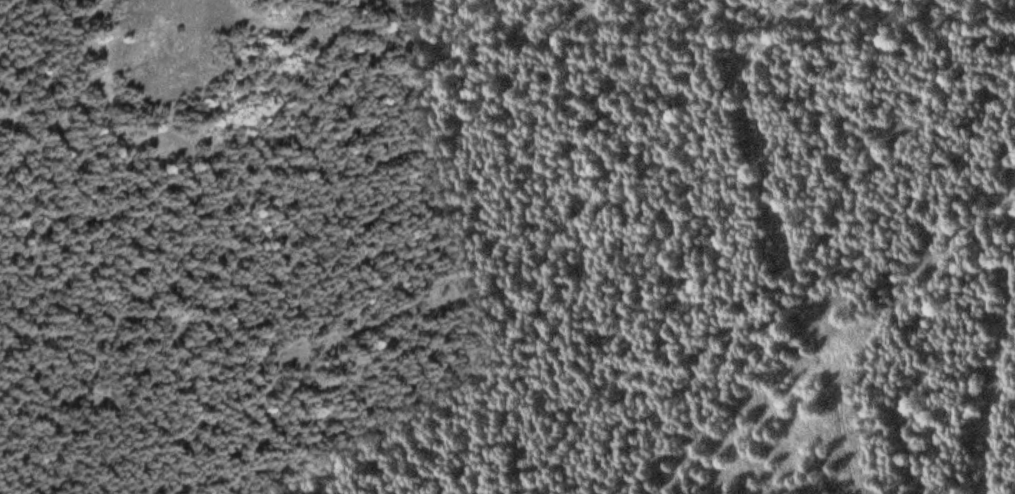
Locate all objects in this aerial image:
road: (1001, 363)

